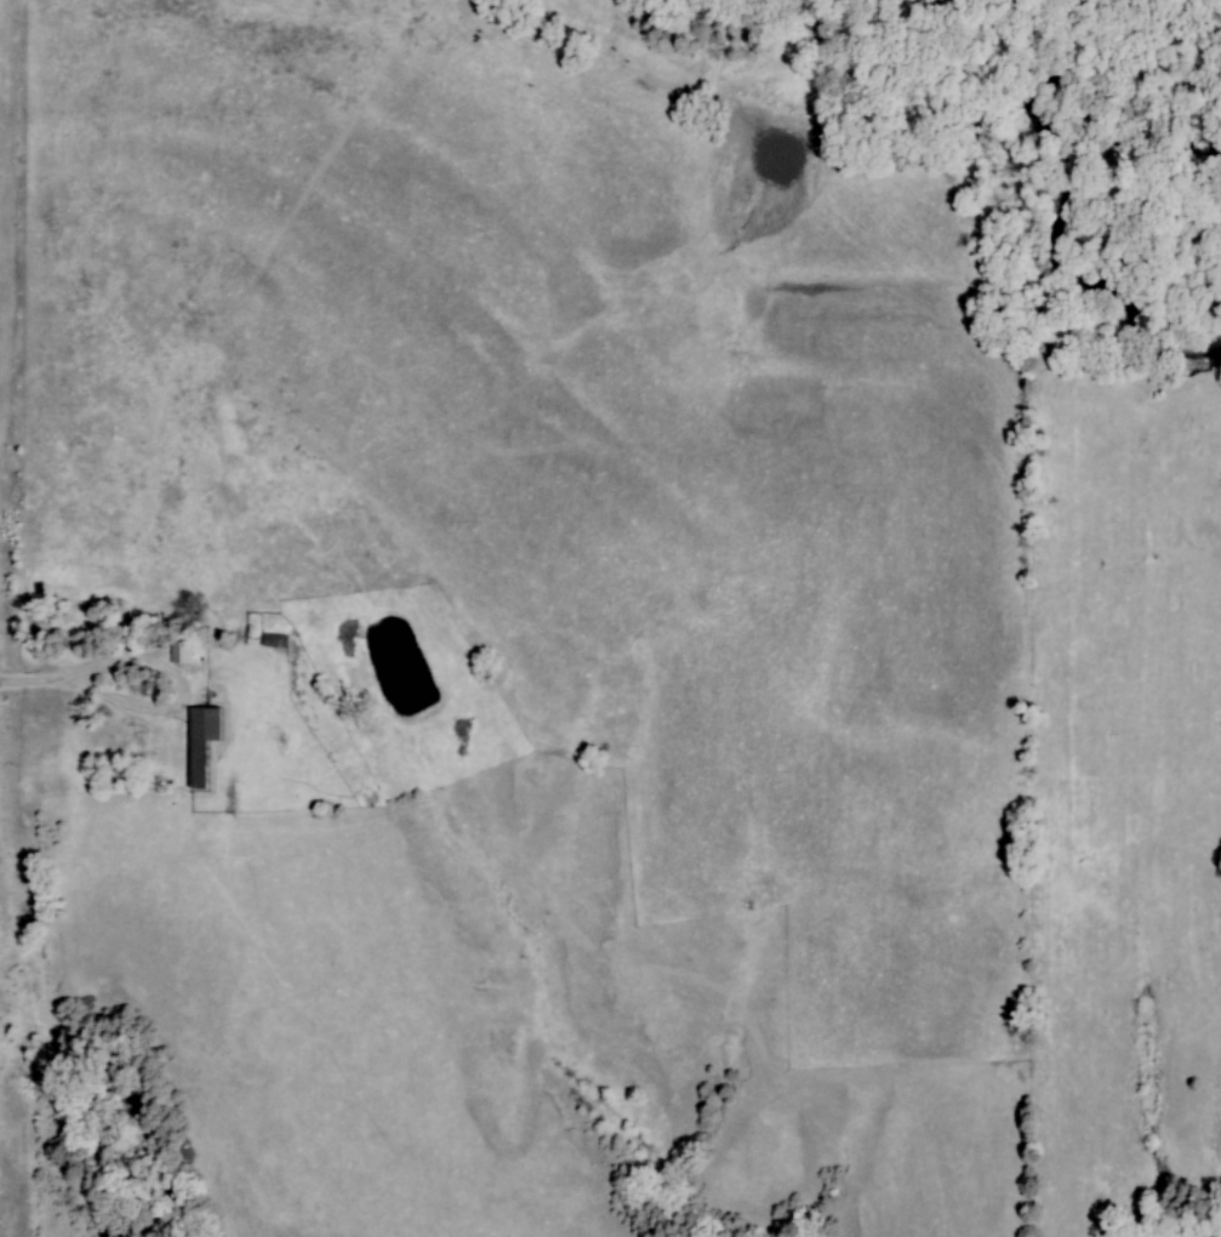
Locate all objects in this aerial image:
building: (179, 652)
road: (148, 665)
road: (35, 684)
building: (204, 742)

